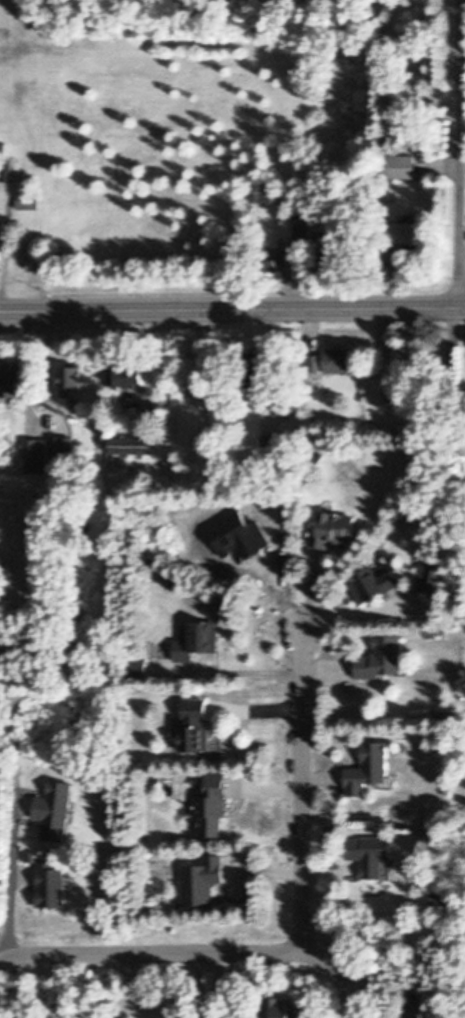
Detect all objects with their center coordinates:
road: (462, 154)
building: (399, 166)
building: (5, 169)
road: (463, 173)
building: (26, 184)
building: (27, 201)
building: (287, 202)
building: (303, 215)
building: (298, 216)
building: (407, 231)
building: (302, 232)
building: (324, 242)
building: (272, 258)
building: (324, 267)
road: (232, 310)
building: (332, 360)
building: (402, 361)
building: (253, 372)
building: (406, 374)
building: (127, 375)
building: (71, 377)
building: (12, 382)
building: (251, 388)
building: (453, 391)
building: (102, 425)
building: (271, 444)
building: (463, 446)
building: (61, 450)
building: (129, 451)
building: (36, 455)
building: (319, 455)
building: (333, 529)
building: (375, 583)
building: (27, 608)
building: (200, 640)
building: (384, 658)
building: (139, 668)
road: (235, 672)
building: (199, 724)
building: (370, 769)
road: (303, 790)
building: (216, 805)
building: (57, 810)
road: (15, 824)
building: (371, 854)
building: (33, 856)
building: (203, 881)
building: (74, 883)
building: (55, 886)
building: (441, 898)
road: (232, 953)
road: (346, 985)
road: (200, 986)
building: (282, 1008)

